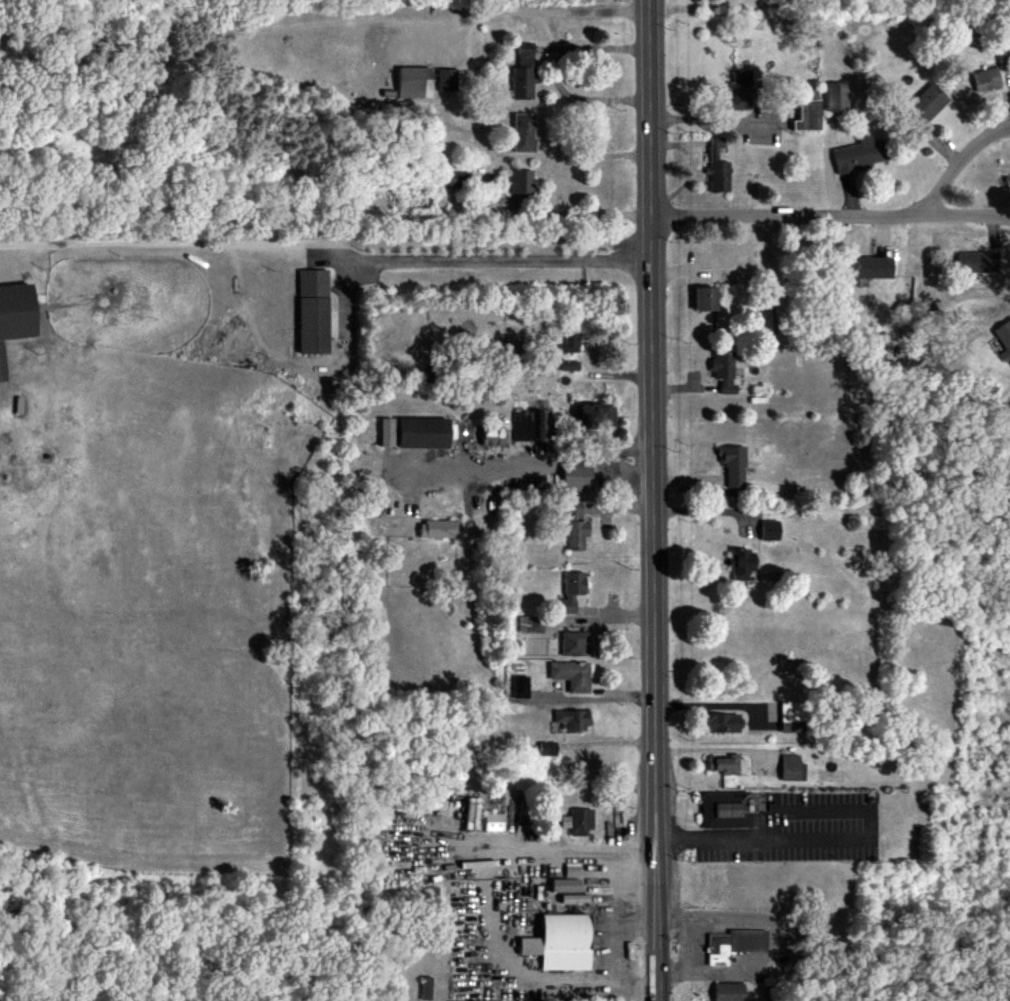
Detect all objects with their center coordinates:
road: (574, 12)
road: (482, 17)
building: (523, 73)
road: (559, 75)
building: (446, 79)
building: (986, 80)
building: (414, 82)
building: (738, 92)
building: (836, 97)
building: (926, 104)
building: (807, 117)
road: (712, 120)
building: (523, 133)
building: (860, 154)
building: (716, 167)
road: (953, 174)
building: (457, 179)
building: (520, 182)
road: (490, 187)
road: (775, 219)
road: (955, 219)
road: (327, 248)
building: (977, 262)
building: (873, 268)
building: (705, 299)
building: (312, 312)
building: (15, 317)
building: (1003, 340)
building: (571, 345)
building: (724, 371)
building: (596, 417)
building: (523, 426)
building: (541, 427)
building: (386, 433)
building: (425, 433)
building: (492, 437)
road: (653, 441)
road: (523, 459)
building: (733, 465)
building: (576, 477)
road: (704, 512)
building: (575, 526)
building: (438, 530)
building: (770, 531)
building: (742, 565)
building: (572, 590)
building: (531, 624)
building: (575, 644)
building: (571, 675)
building: (520, 685)
building: (792, 717)
building: (573, 720)
building: (722, 723)
road: (611, 742)
building: (547, 749)
building: (792, 768)
building: (727, 810)
building: (493, 822)
building: (578, 823)
road: (807, 839)
building: (568, 880)
building: (574, 899)
road: (639, 920)
road: (619, 923)
road: (658, 941)
building: (560, 942)
road: (777, 943)
building: (734, 945)
road: (696, 947)
building: (426, 988)
building: (729, 992)

